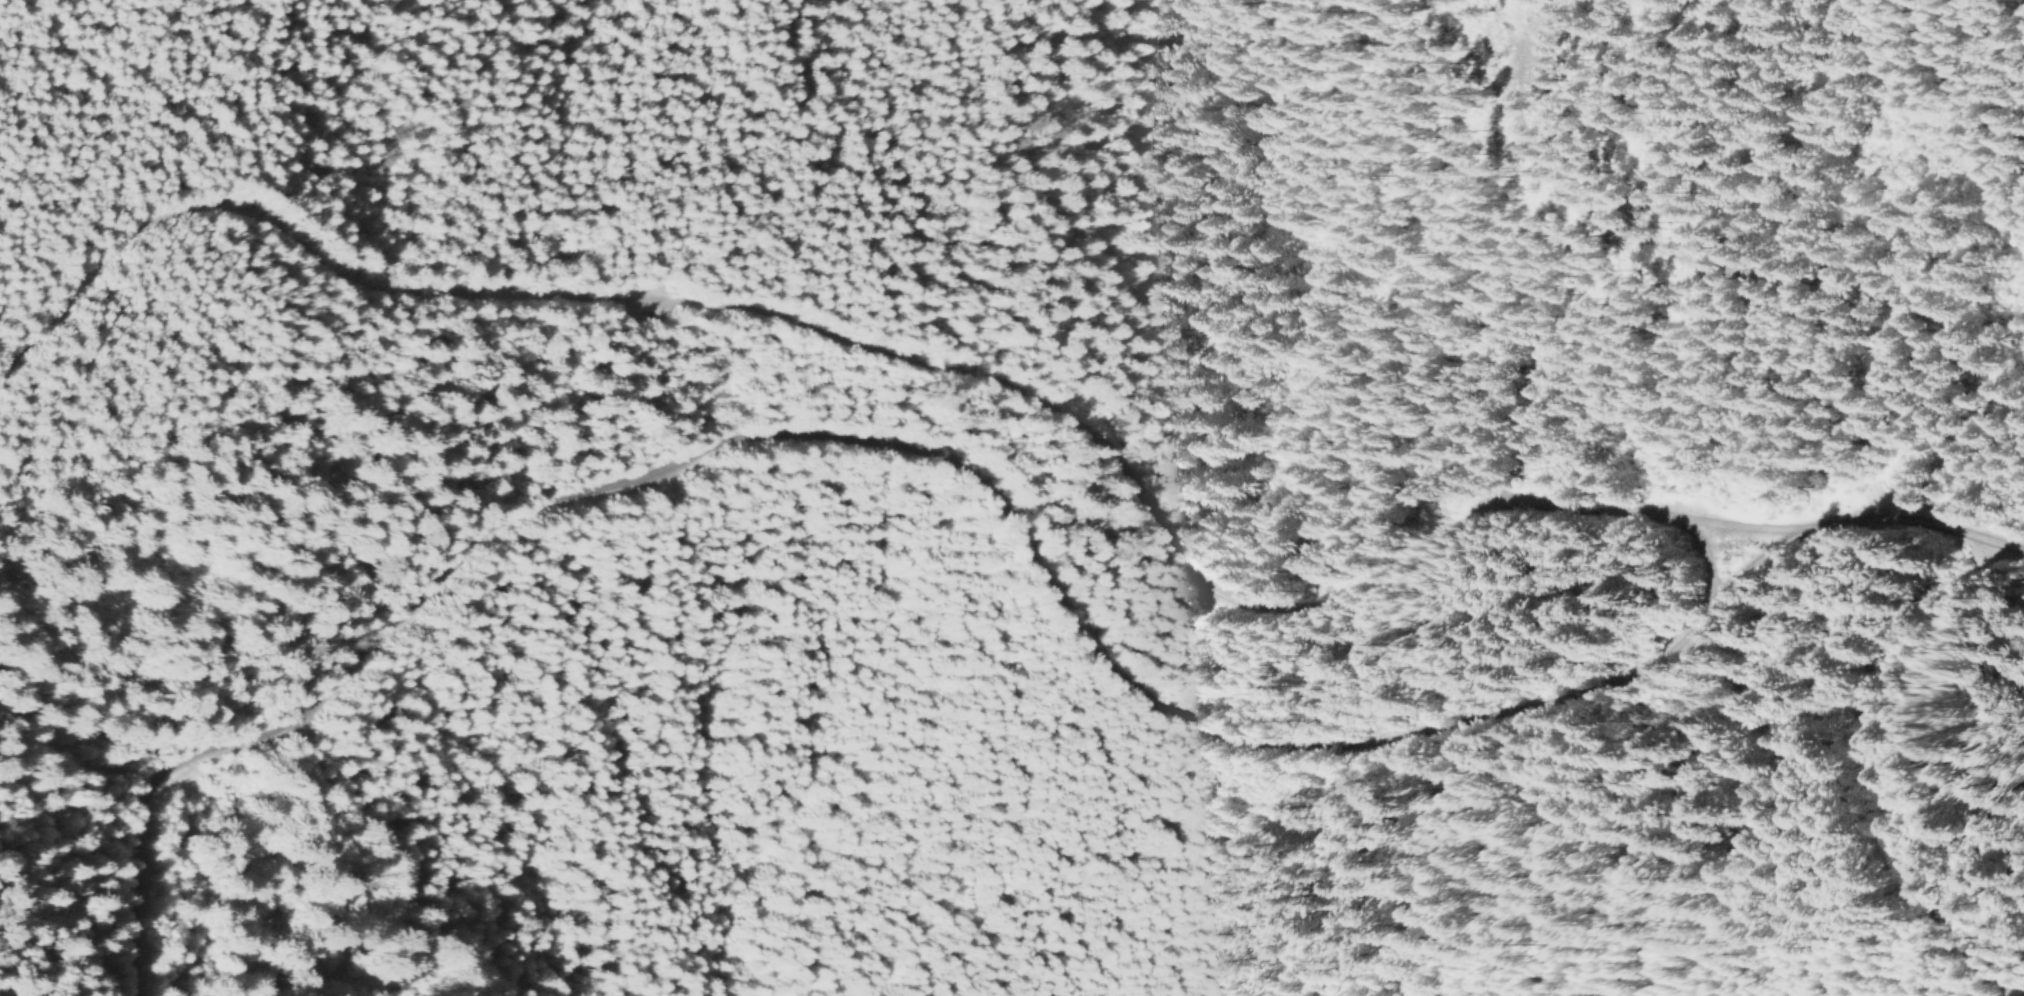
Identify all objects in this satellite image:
parking lot: (641, 304)
road: (1107, 323)
road: (917, 368)
road: (1000, 511)
road: (1705, 572)
road: (1879, 781)

